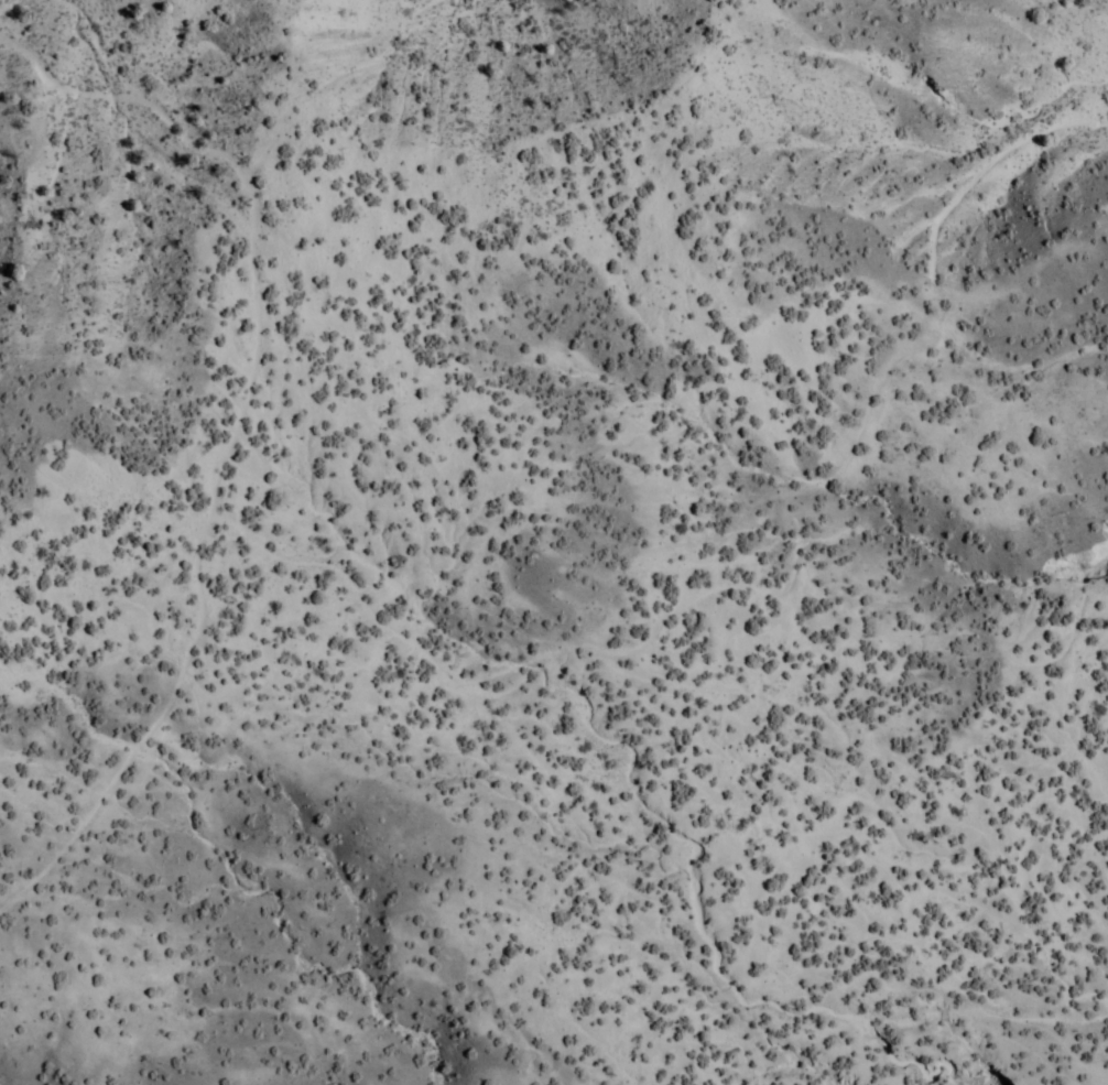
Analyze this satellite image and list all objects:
road: (235, 433)
road: (773, 594)

